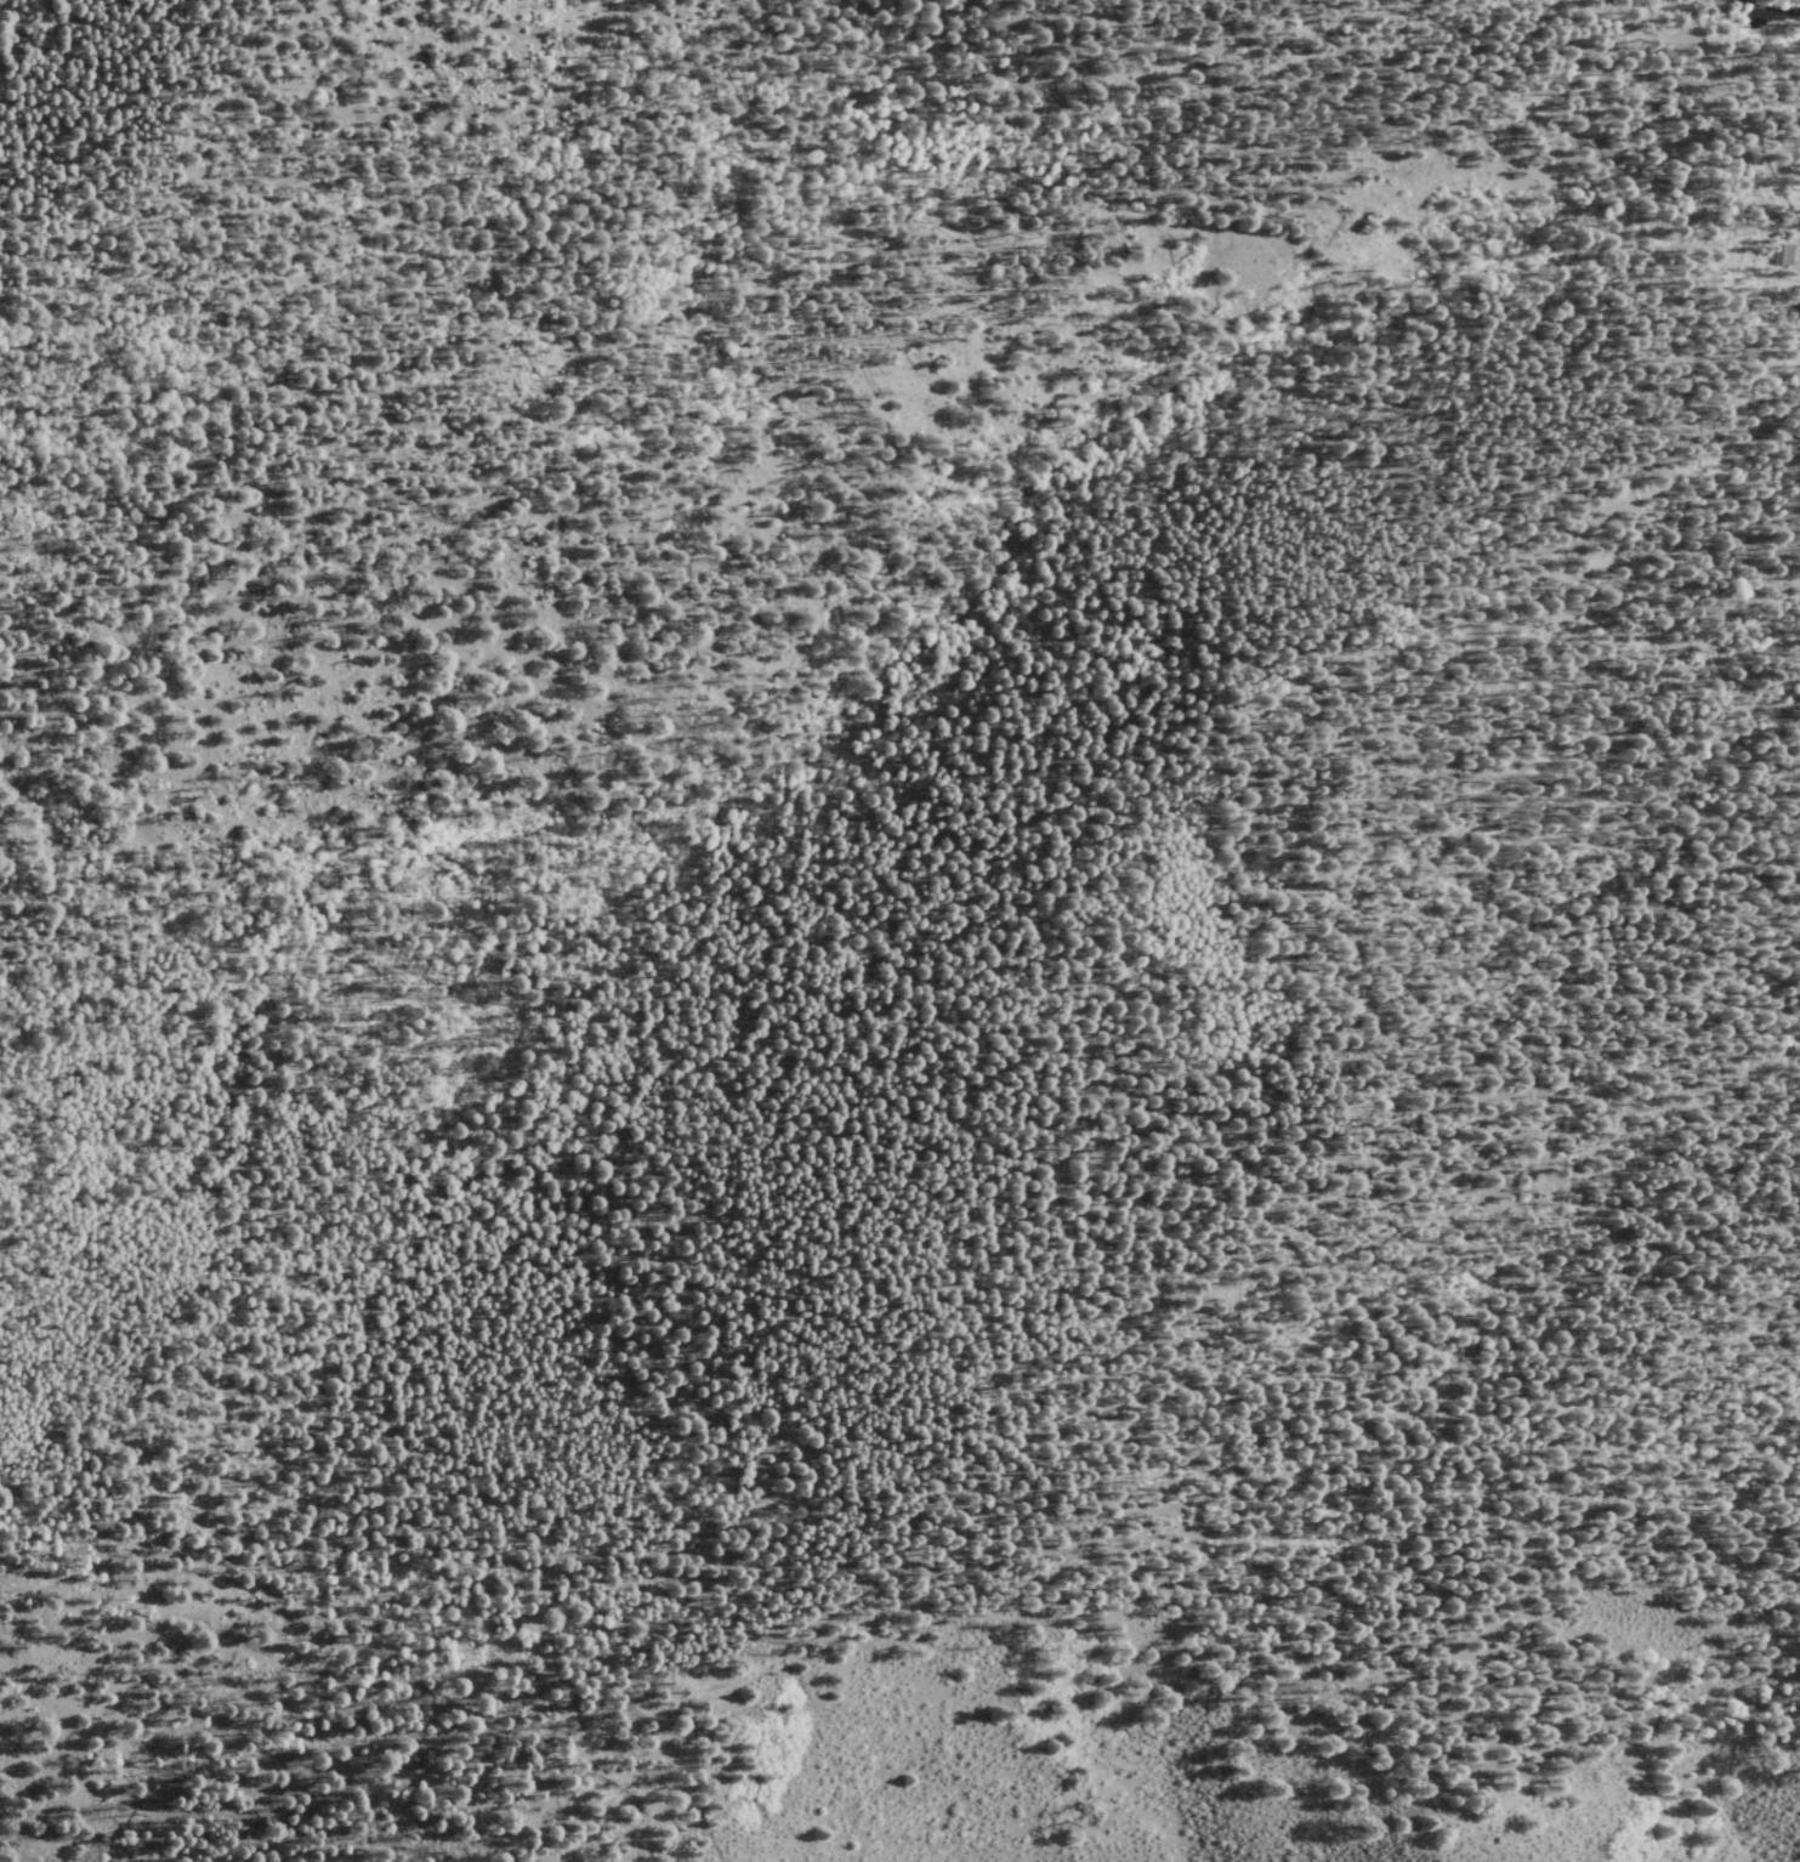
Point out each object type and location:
building: (1784, 252)

